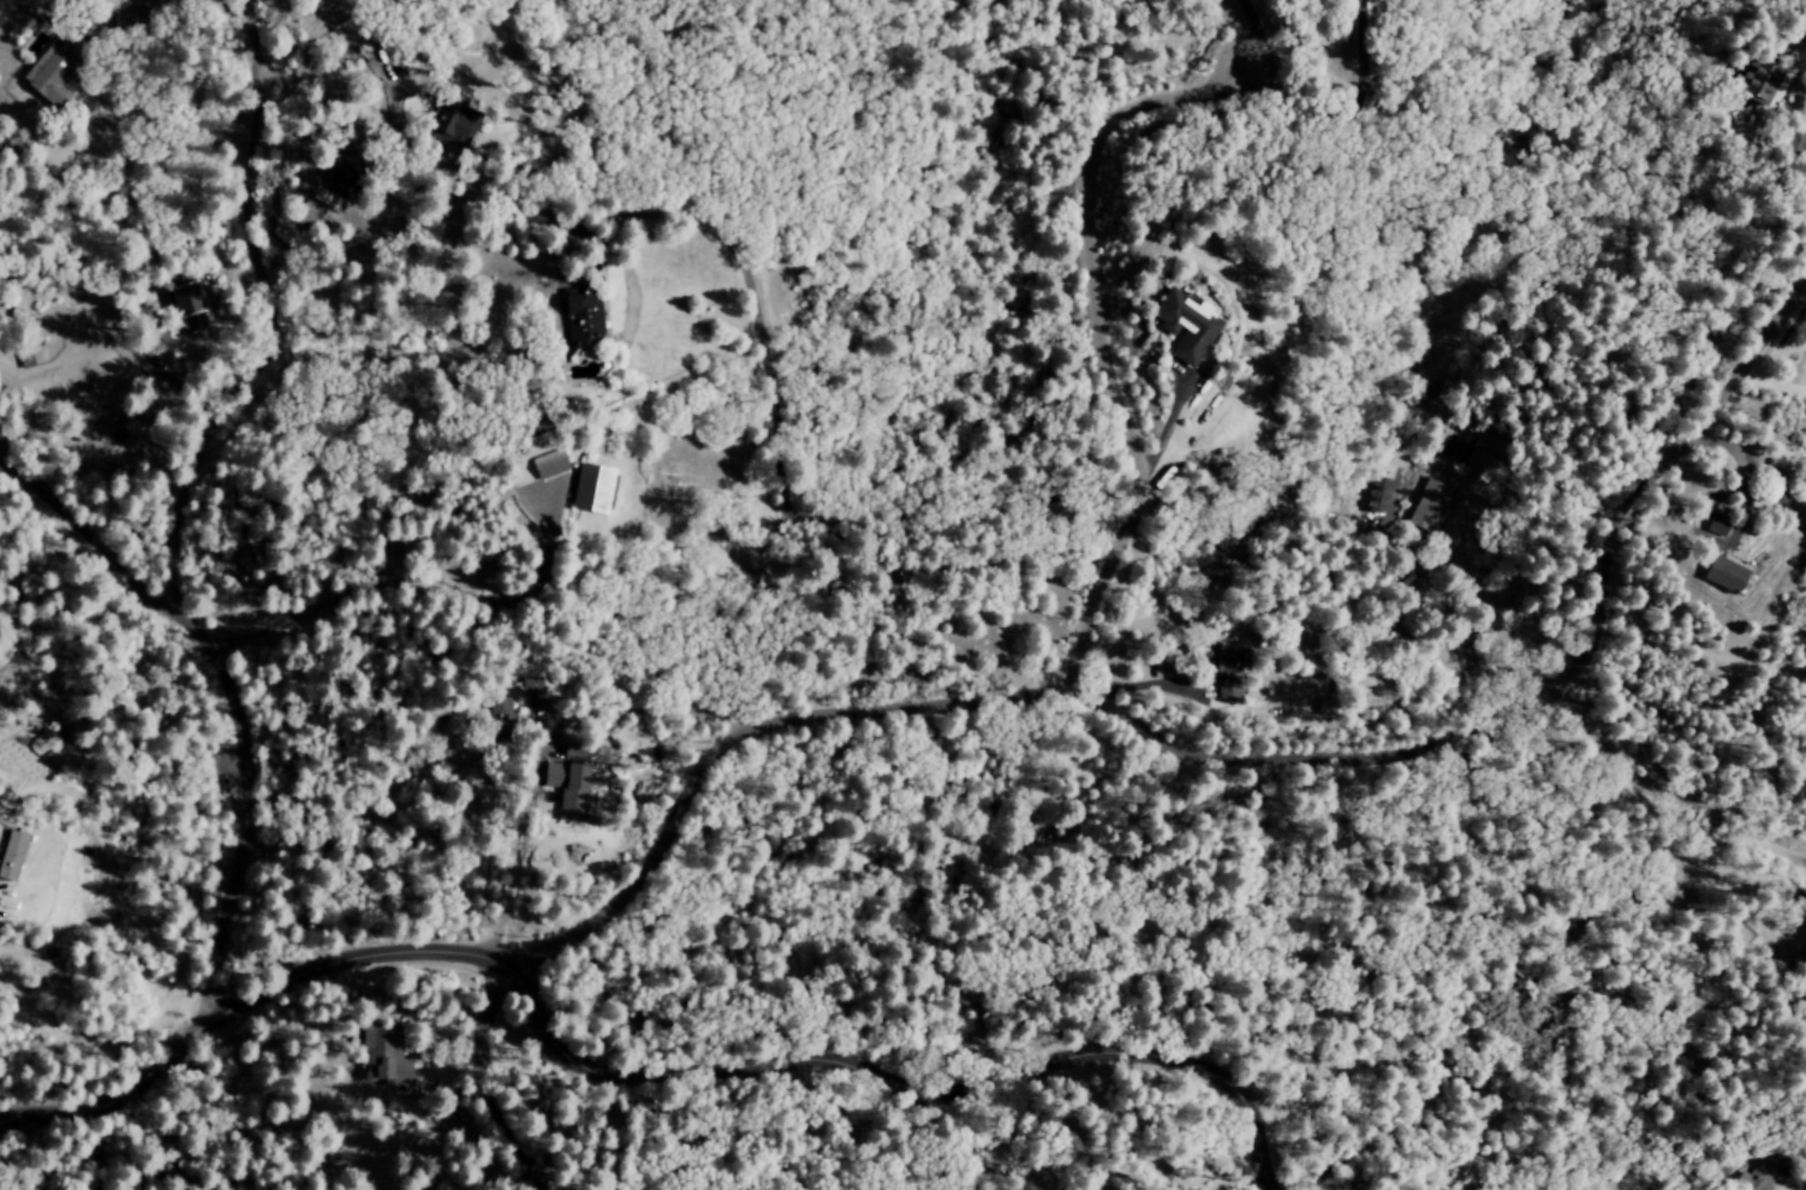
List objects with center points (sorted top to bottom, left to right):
road: (126, 11)
road: (1244, 29)
road: (239, 41)
building: (53, 78)
building: (1757, 82)
building: (449, 118)
road: (268, 303)
building: (191, 304)
building: (583, 320)
road: (1537, 326)
building: (1182, 327)
road: (1097, 334)
building: (24, 361)
road: (1158, 445)
building: (546, 466)
building: (586, 490)
building: (1383, 502)
building: (1712, 530)
building: (1721, 579)
road: (386, 581)
building: (1223, 674)
road: (1139, 686)
building: (529, 688)
road: (214, 701)
building: (499, 713)
building: (576, 751)
road: (1217, 756)
building: (566, 791)
building: (11, 852)
building: (381, 1058)
road: (618, 1077)
road: (484, 1079)
building: (1760, 1174)

